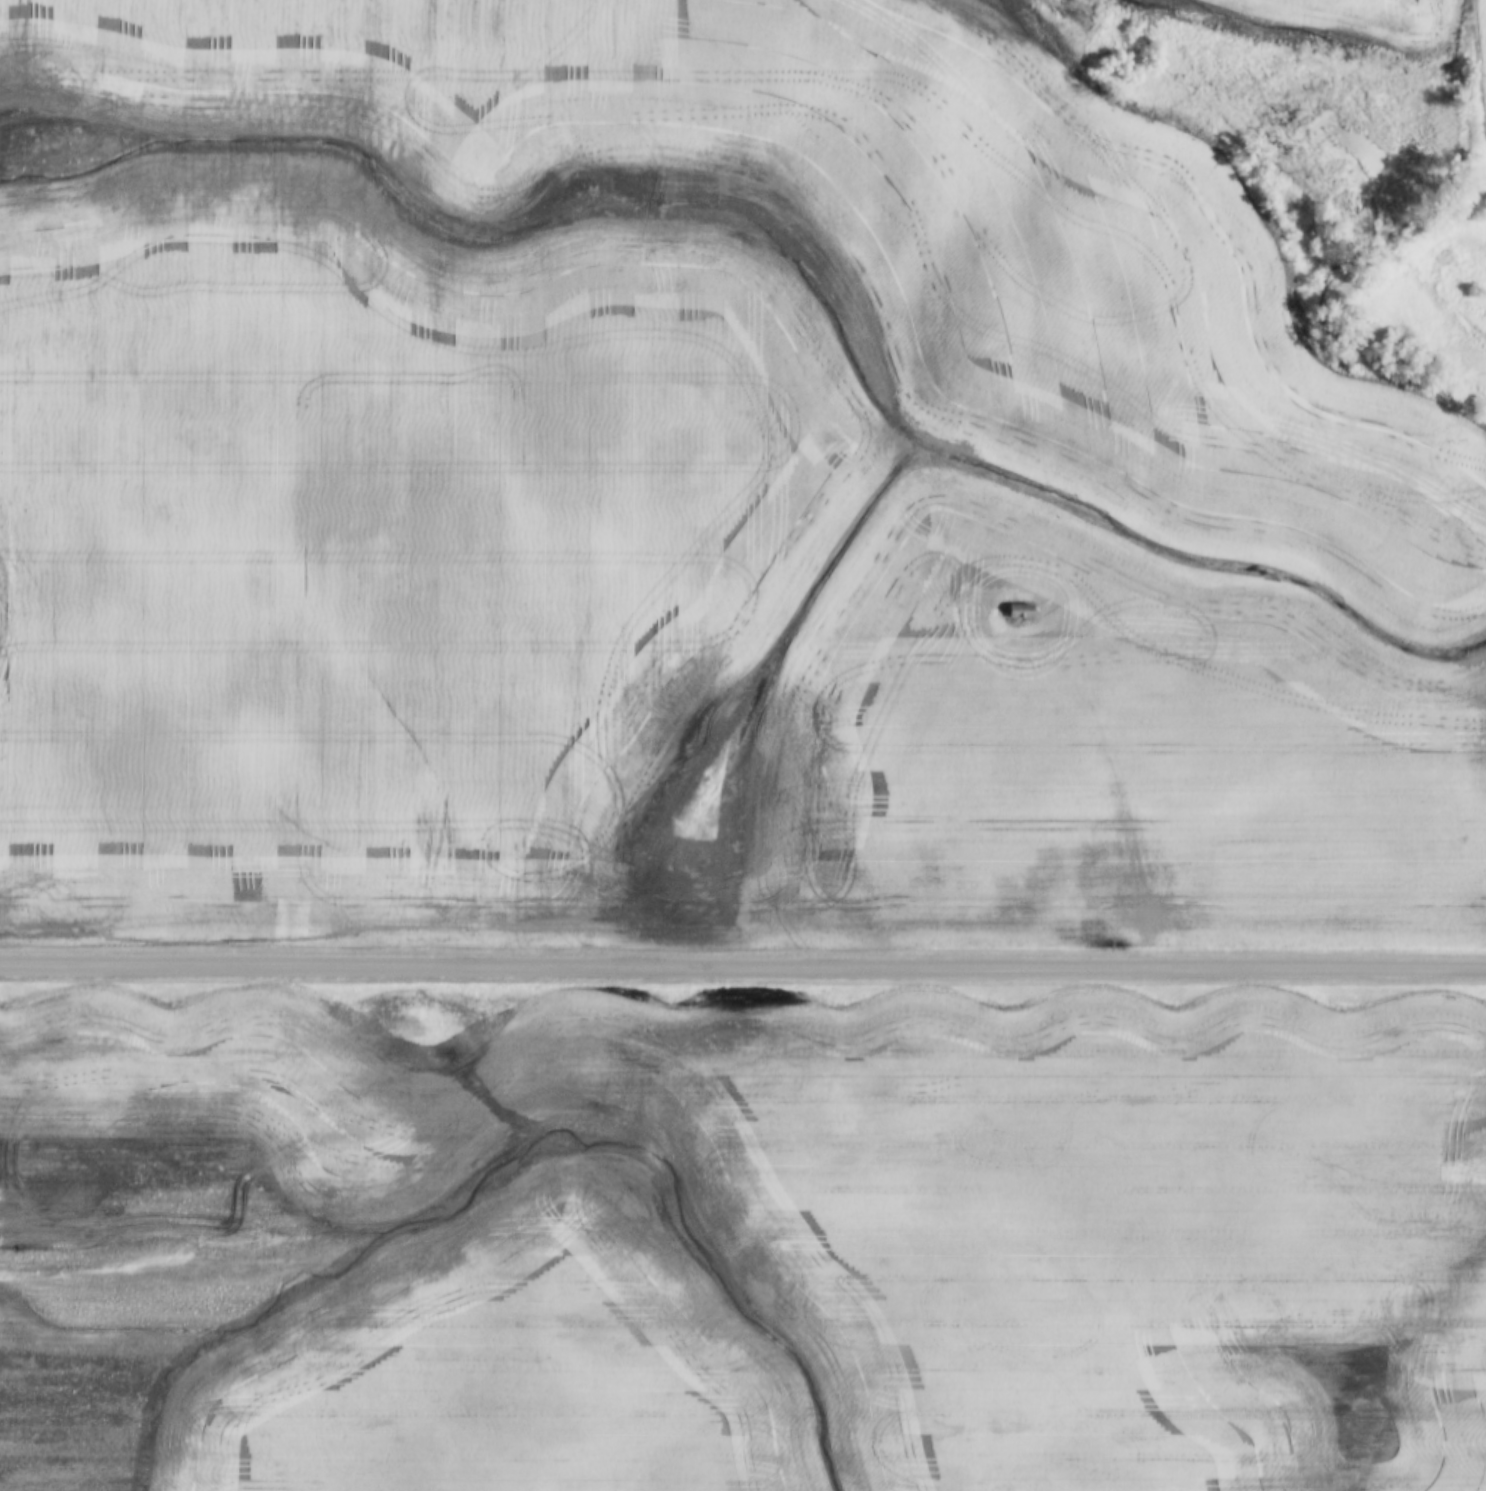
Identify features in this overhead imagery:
building: (1021, 611)
road: (742, 968)

